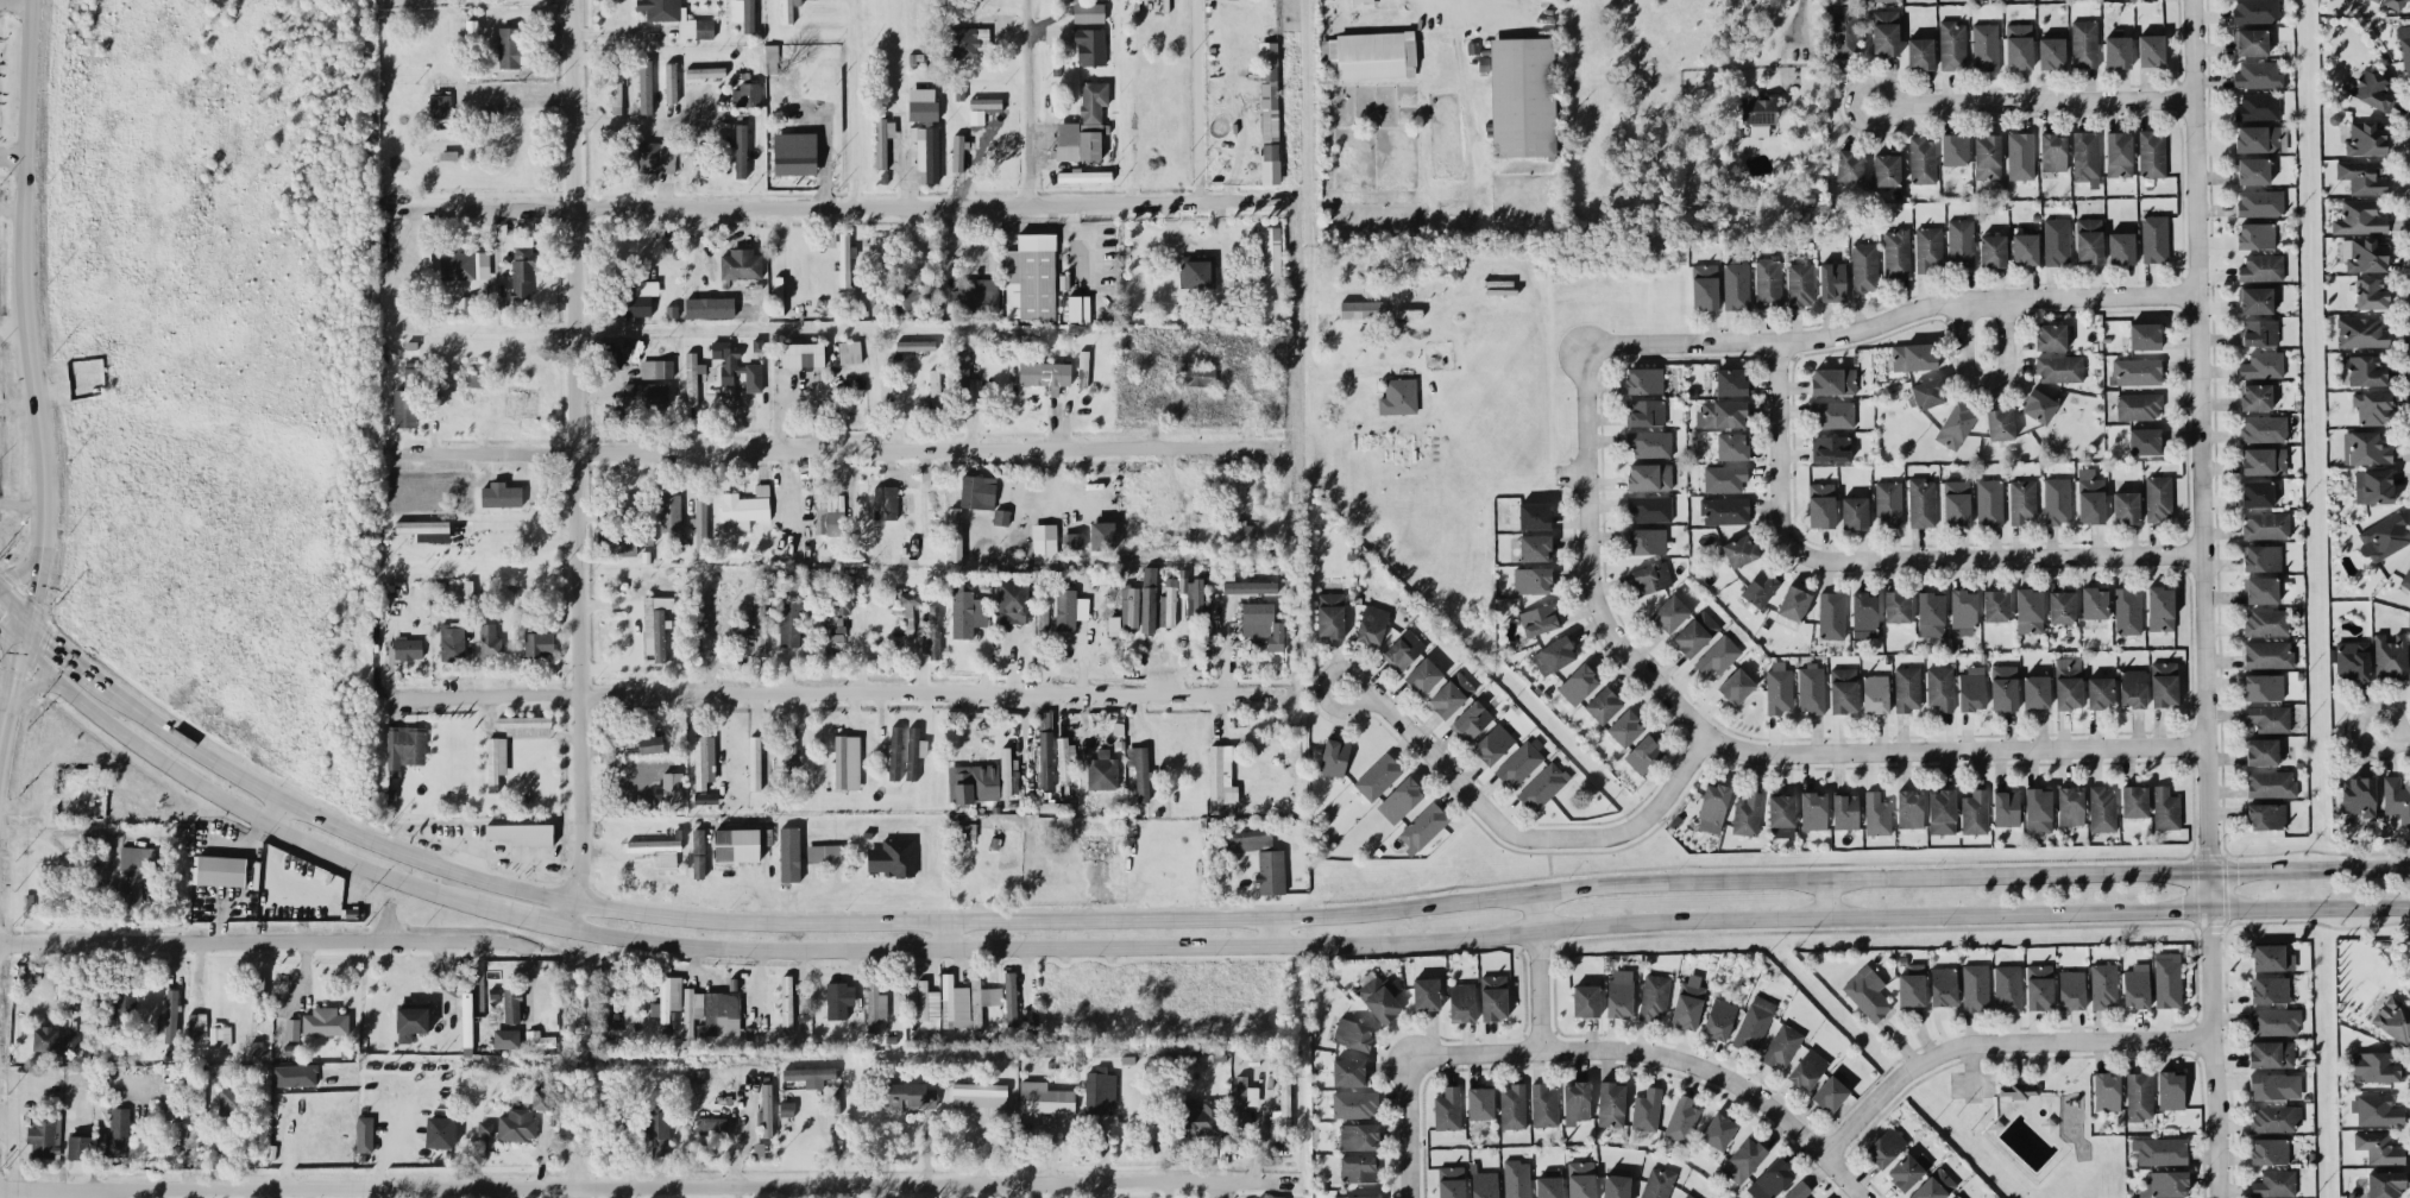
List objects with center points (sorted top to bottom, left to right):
road: (15, 0)
building: (1883, 0)
building: (2377, 0)
building: (1361, 2)
building: (2395, 4)
building: (787, 10)
building: (2255, 11)
building: (1088, 12)
building: (743, 13)
building: (677, 17)
building: (1886, 32)
building: (1844, 33)
building: (968, 40)
building: (2251, 40)
building: (2084, 43)
building: (1952, 44)
building: (1089, 45)
building: (1984, 45)
building: (2018, 45)
building: (2404, 45)
building: (509, 46)
building: (2151, 49)
building: (1267, 52)
building: (1920, 52)
building: (2051, 52)
building: (1368, 55)
building: (770, 57)
building: (705, 71)
building: (2258, 74)
building: (671, 82)
building: (644, 86)
building: (616, 88)
building: (2372, 90)
building: (959, 93)
building: (745, 94)
building: (1522, 96)
road: (1028, 101)
road: (1193, 101)
road: (854, 102)
building: (986, 102)
building: (1269, 102)
road: (2032, 102)
building: (921, 103)
building: (440, 106)
building: (2258, 106)
building: (1757, 113)
building: (976, 115)
road: (644, 119)
building: (1083, 125)
building: (2258, 138)
building: (2367, 138)
building: (882, 139)
building: (445, 146)
building: (741, 149)
building: (1953, 149)
building: (2052, 151)
building: (794, 152)
building: (958, 152)
building: (2151, 152)
building: (927, 153)
building: (2119, 153)
building: (660, 155)
building: (2020, 155)
road: (13, 156)
building: (1987, 156)
building: (2085, 156)
building: (1923, 159)
building: (1270, 162)
building: (1849, 165)
building: (1886, 169)
building: (2253, 170)
building: (1083, 175)
building: (2362, 176)
building: (2260, 202)
road: (839, 206)
road: (1305, 206)
building: (2359, 217)
building: (2255, 234)
building: (2154, 238)
building: (826, 239)
building: (2089, 239)
building: (2056, 240)
building: (1961, 241)
building: (2025, 247)
building: (2121, 247)
building: (1928, 248)
building: (1993, 250)
building: (1896, 252)
building: (424, 253)
building: (1271, 254)
building: (2364, 254)
building: (845, 258)
building: (465, 264)
building: (741, 264)
building: (523, 266)
building: (1864, 266)
building: (2261, 267)
building: (1197, 270)
building: (1031, 277)
building: (1226, 277)
building: (1832, 280)
building: (1736, 283)
building: (1768, 283)
building: (1800, 283)
building: (1705, 285)
building: (2371, 292)
building: (976, 294)
building: (635, 297)
building: (904, 298)
building: (2255, 299)
building: (466, 301)
building: (1078, 307)
building: (1361, 309)
road: (1888, 317)
building: (2259, 332)
building: (2361, 332)
building: (2050, 335)
building: (2144, 335)
building: (915, 345)
building: (850, 351)
building: (803, 353)
building: (612, 355)
building: (1913, 355)
building: (2263, 364)
building: (736, 366)
building: (656, 367)
building: (2059, 367)
building: (2366, 370)
road: (32, 371)
building: (962, 371)
building: (2138, 371)
building: (1044, 372)
building: (1194, 373)
building: (692, 377)
building: (478, 379)
building: (1643, 379)
building: (1730, 380)
building: (1833, 380)
road: (1983, 380)
building: (935, 384)
building: (1927, 392)
building: (644, 393)
building: (1398, 396)
building: (2258, 396)
building: (407, 399)
building: (2038, 405)
building: (2139, 405)
building: (2372, 406)
building: (1644, 411)
building: (1722, 412)
building: (1832, 412)
building: (2000, 423)
building: (1955, 424)
building: (2263, 428)
road: (1773, 440)
building: (2145, 441)
building: (1650, 442)
building: (1731, 446)
building: (2365, 447)
road: (838, 448)
building: (1830, 448)
building: (2264, 460)
road: (575, 464)
building: (1649, 475)
building: (1724, 477)
building: (2373, 486)
building: (977, 491)
building: (2257, 492)
road: (789, 493)
building: (501, 494)
building: (2158, 497)
building: (2022, 499)
building: (2057, 499)
building: (2090, 499)
building: (880, 500)
building: (1921, 502)
building: (1956, 502)
building: (1989, 502)
building: (1888, 503)
building: (1820, 504)
building: (2126, 506)
building: (744, 507)
building: (1649, 507)
building: (634, 509)
building: (668, 509)
building: (1725, 510)
building: (829, 511)
building: (1854, 512)
building: (1534, 515)
building: (1000, 516)
building: (700, 523)
building: (2266, 524)
building: (426, 529)
building: (1239, 531)
building: (955, 532)
building: (1102, 534)
building: (2384, 536)
building: (1075, 540)
building: (623, 541)
building: (1647, 541)
building: (1044, 542)
building: (1535, 547)
building: (1739, 549)
road: (1986, 557)
building: (2261, 557)
building: (1227, 572)
building: (1650, 578)
building: (1150, 579)
building: (2406, 579)
building: (1531, 580)
building: (1250, 586)
building: (1760, 586)
building: (460, 588)
building: (2261, 589)
building: (1044, 593)
building: (910, 598)
road: (2201, 598)
building: (1013, 600)
road: (13, 601)
building: (662, 601)
building: (2095, 601)
building: (1794, 603)
building: (1898, 605)
building: (1996, 605)
building: (1194, 606)
building: (2062, 606)
building: (1131, 607)
building: (2160, 607)
building: (724, 609)
building: (1065, 609)
building: (1147, 610)
building: (2028, 610)
building: (2127, 610)
building: (967, 611)
building: (1670, 612)
building: (1963, 612)
building: (1931, 613)
building: (1330, 614)
building: (1831, 614)
building: (1864, 614)
building: (1540, 618)
building: (2266, 622)
building: (789, 623)
building: (1263, 623)
building: (1371, 624)
building: (1113, 625)
building: (932, 632)
building: (1695, 632)
road: (10, 635)
building: (656, 637)
building: (451, 639)
building: (489, 639)
building: (748, 641)
building: (539, 642)
building: (408, 647)
road: (63, 649)
building: (1403, 649)
building: (2267, 654)
building: (1553, 655)
building: (1718, 655)
building: (2391, 656)
building: (2352, 660)
building: (1423, 675)
building: (2068, 681)
building: (2164, 682)
building: (1578, 683)
building: (1736, 685)
building: (2003, 686)
building: (2264, 686)
building: (1779, 687)
building: (1939, 687)
building: (2132, 687)
road: (5, 688)
building: (1811, 688)
building: (1907, 688)
building: (1971, 688)
building: (1843, 689)
building: (2035, 691)
building: (2100, 691)
road: (831, 693)
building: (1875, 693)
building: (1451, 694)
building: (1603, 704)
building: (2269, 717)
building: (1471, 719)
building: (1045, 720)
building: (1625, 727)
road: (2395, 734)
building: (650, 742)
building: (1493, 743)
building: (403, 746)
road: (1735, 749)
building: (2261, 750)
building: (913, 751)
building: (893, 752)
building: (1644, 754)
building: (1064, 756)
building: (496, 757)
building: (1334, 757)
building: (1045, 758)
building: (704, 759)
building: (847, 761)
building: (1521, 762)
building: (1006, 769)
building: (1102, 770)
building: (1139, 770)
building: (1221, 774)
building: (1378, 776)
building: (973, 782)
building: (2271, 782)
building: (1542, 786)
building: (668, 792)
building: (2359, 795)
building: (706, 796)
building: (2397, 797)
building: (1399, 799)
building: (2134, 800)
building: (1055, 806)
building: (2070, 806)
building: (1712, 807)
building: (2006, 807)
road: (243, 808)
building: (1909, 808)
building: (2102, 808)
building: (2165, 808)
building: (1781, 809)
building: (1813, 809)
building: (1845, 809)
building: (2038, 809)
road: (275, 811)
building: (1942, 811)
building: (1974, 812)
building: (1876, 813)
building: (1747, 814)
building: (2265, 815)
building: (1423, 827)
building: (521, 833)
road: (1516, 837)
building: (1251, 838)
building: (1225, 843)
building: (1096, 846)
building: (657, 850)
building: (823, 852)
building: (789, 853)
building: (893, 857)
building: (1052, 857)
building: (220, 869)
building: (1270, 870)
building: (136, 875)
road: (1824, 897)
building: (27, 903)
road: (1228, 912)
road: (1865, 915)
road: (535, 918)
road: (1275, 928)
road: (942, 931)
road: (263, 939)
road: (944, 947)
building: (2271, 957)
road: (1536, 971)
building: (2167, 978)
building: (2137, 984)
building: (1912, 985)
building: (1943, 985)
building: (2103, 985)
building: (259, 986)
building: (1975, 986)
building: (2007, 986)
building: (2039, 986)
building: (2071, 989)
building: (2269, 989)
building: (1867, 991)
building: (1426, 992)
building: (1619, 992)
building: (912, 994)
building: (1493, 996)
building: (124, 997)
building: (667, 997)
building: (1009, 997)
building: (1654, 997)
building: (839, 998)
building: (1378, 998)
building: (982, 1000)
building: (1585, 1000)
building: (927, 1001)
building: (1461, 1001)
building: (786, 1002)
building: (955, 1002)
building: (1688, 1002)
building: (511, 1003)
building: (877, 1004)
building: (691, 1008)
building: (722, 1013)
building: (169, 1016)
building: (1719, 1017)
building: (466, 1019)
building: (2395, 1019)
building: (325, 1021)
building: (411, 1021)
building: (2274, 1021)
building: (1754, 1023)
building: (196, 1027)
building: (291, 1028)
building: (1352, 1033)
building: (220, 1034)
building: (45, 1038)
building: (539, 1039)
road: (1993, 1040)
building: (70, 1041)
building: (1781, 1045)
building: (257, 1046)
building: (2271, 1053)
road: (1655, 1054)
building: (2376, 1066)
building: (1807, 1068)
building: (1348, 1071)
building: (295, 1074)
building: (812, 1076)
parking lot: (1972, 1080)
building: (2274, 1085)
building: (1099, 1089)
building: (2107, 1090)
building: (2171, 1090)
building: (1832, 1091)
building: (979, 1093)
building: (2139, 1095)
building: (911, 1096)
building: (541, 1097)
building: (1044, 1097)
building: (1244, 1097)
building: (231, 1101)
building: (1284, 1102)
building: (1480, 1102)
building: (1575, 1102)
building: (1354, 1103)
building: (1611, 1103)
building: (1543, 1104)
building: (1512, 1105)
building: (786, 1108)
building: (1447, 1108)
building: (767, 1109)
building: (1646, 1109)
building: (2378, 1109)
building: (1201, 1116)
building: (2274, 1117)
building: (1681, 1118)
park: (2026, 1120)
building: (517, 1124)
building: (711, 1124)
road: (1404, 1127)
building: (485, 1128)
building: (657, 1128)
building: (2028, 1129)
building: (118, 1130)
building: (439, 1130)
building: (1718, 1130)
building: (364, 1133)
building: (44, 1134)
building: (1358, 1135)
building: (78, 1146)
building: (1884, 1146)
building: (2379, 1147)
building: (2160, 1149)
building: (2269, 1149)
building: (1743, 1159)
building: (1359, 1167)
building: (1908, 1169)
building: (1517, 1178)
building: (1581, 1179)
building: (1770, 1179)
building: (1451, 1181)
building: (1484, 1183)
building: (1657, 1183)
building: (2274, 1183)
building: (2385, 1183)
road: (647, 1184)
building: (2165, 1184)
building: (1934, 1185)
building: (1548, 1186)
building: (1616, 1186)
building: (1798, 1190)
building: (1271, 1196)
building: (1355, 1196)
building: (1687, 1196)
building: (1957, 1196)

